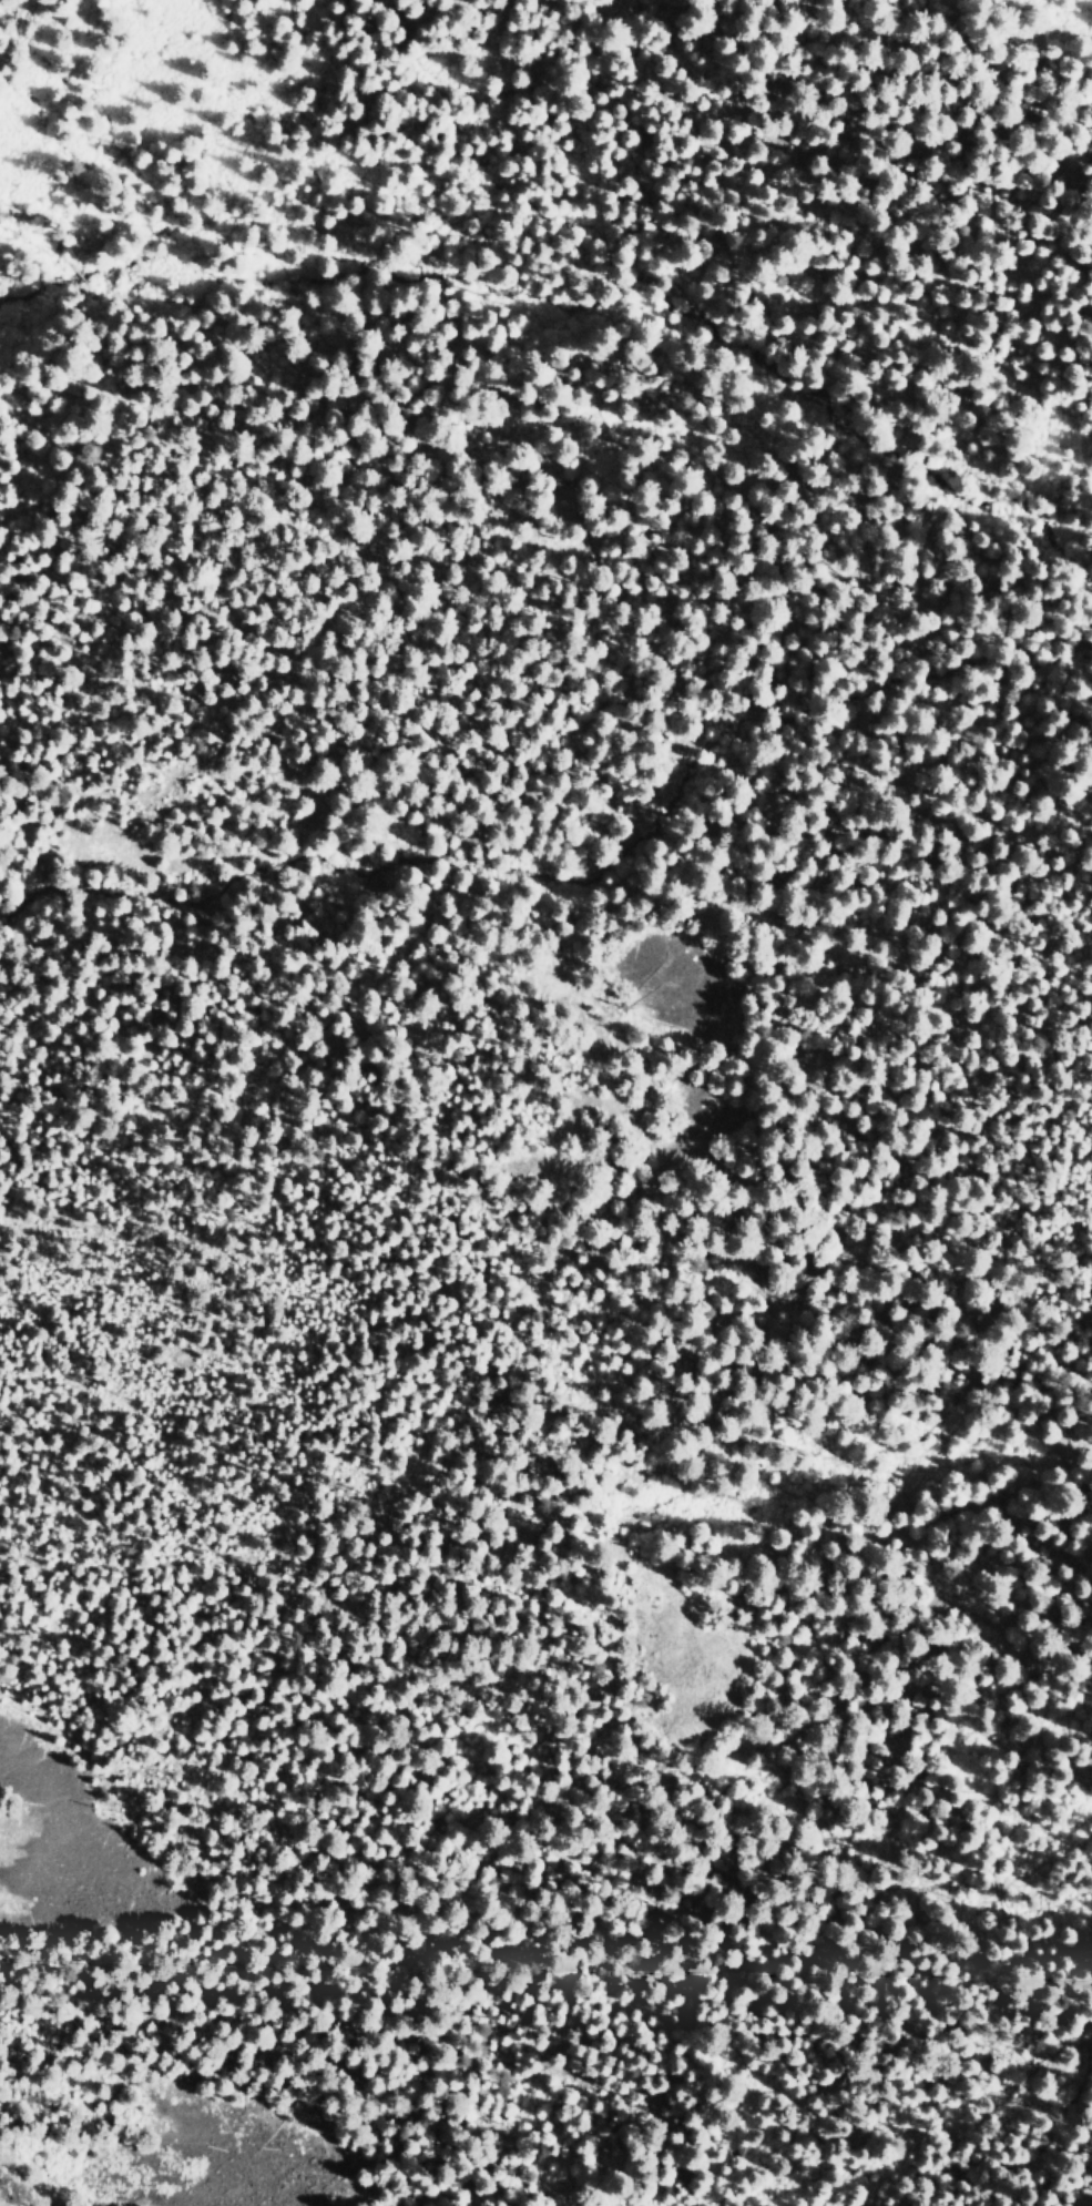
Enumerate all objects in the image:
road: (531, 711)

